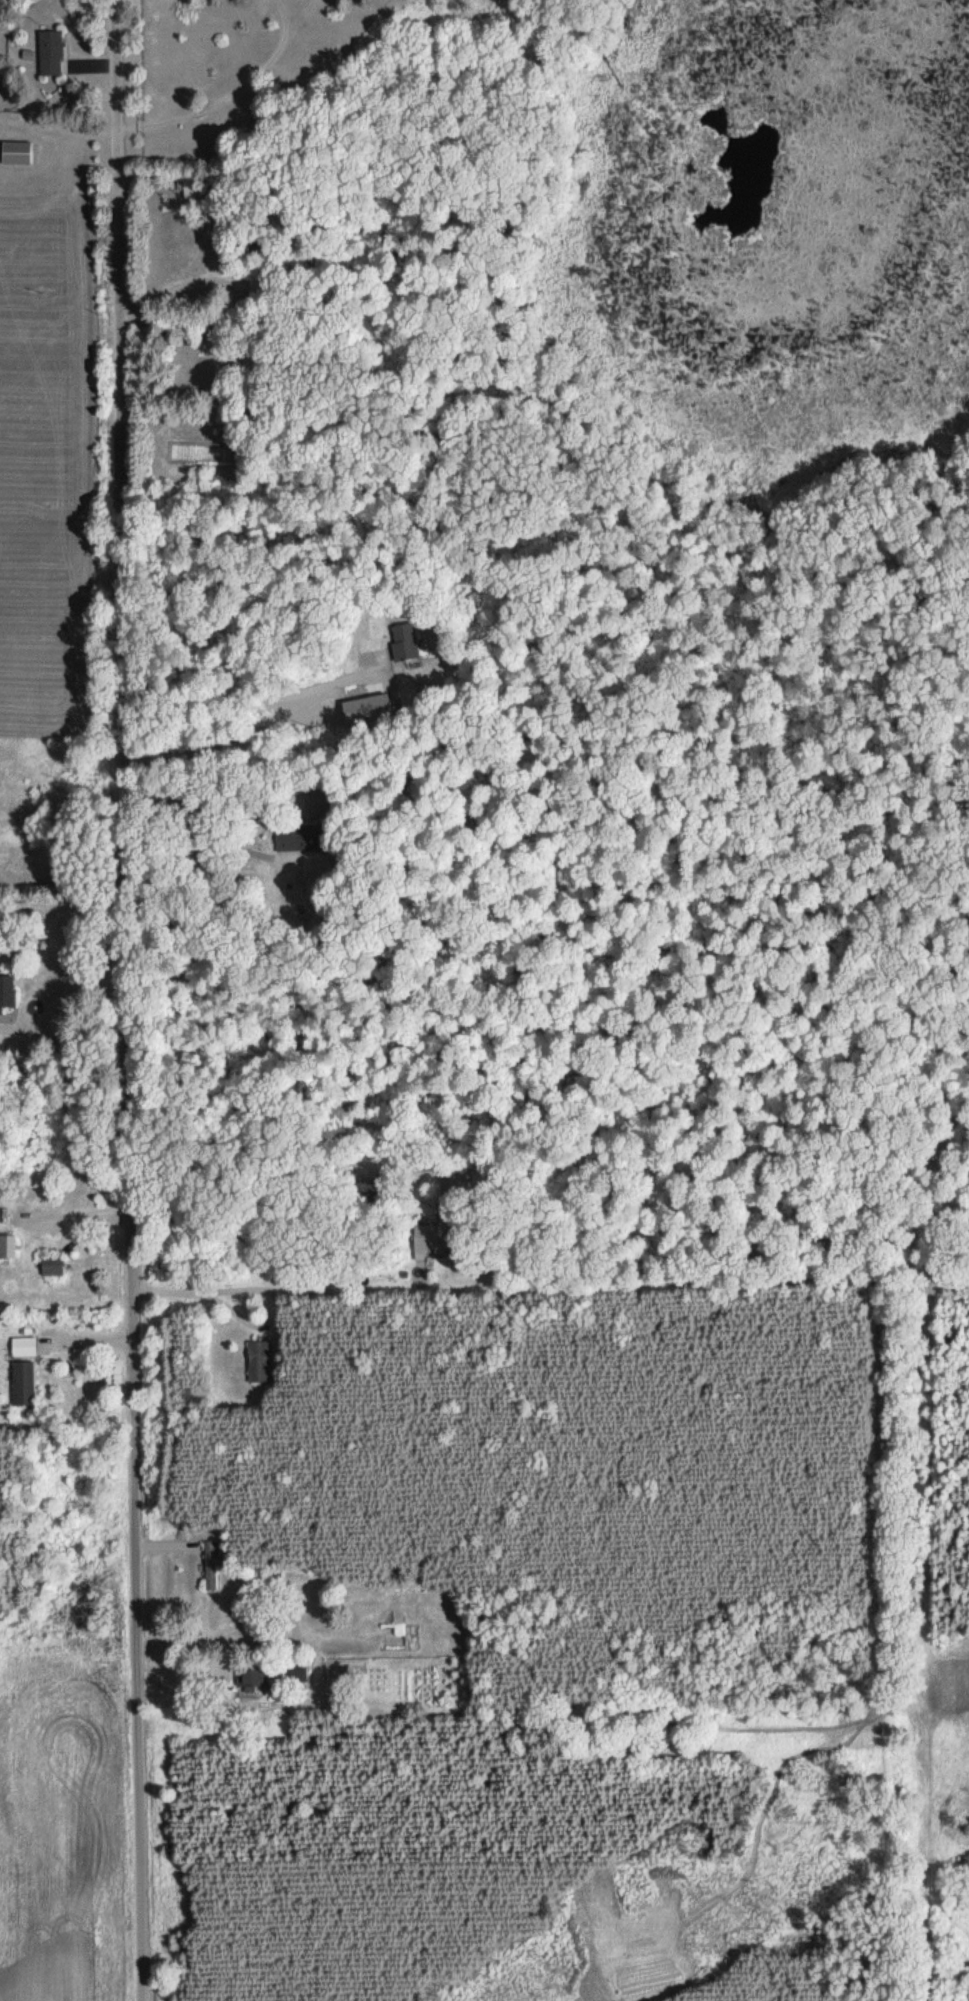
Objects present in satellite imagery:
building: (50, 51)
road: (228, 91)
building: (17, 151)
building: (191, 188)
building: (257, 283)
building: (404, 641)
road: (255, 697)
road: (206, 834)
building: (6, 990)
road: (129, 1000)
road: (63, 1006)
building: (369, 1188)
building: (432, 1240)
building: (7, 1245)
building: (52, 1265)
road: (255, 1290)
building: (30, 1345)
building: (259, 1360)
building: (23, 1382)
building: (211, 1564)
building: (254, 1676)

